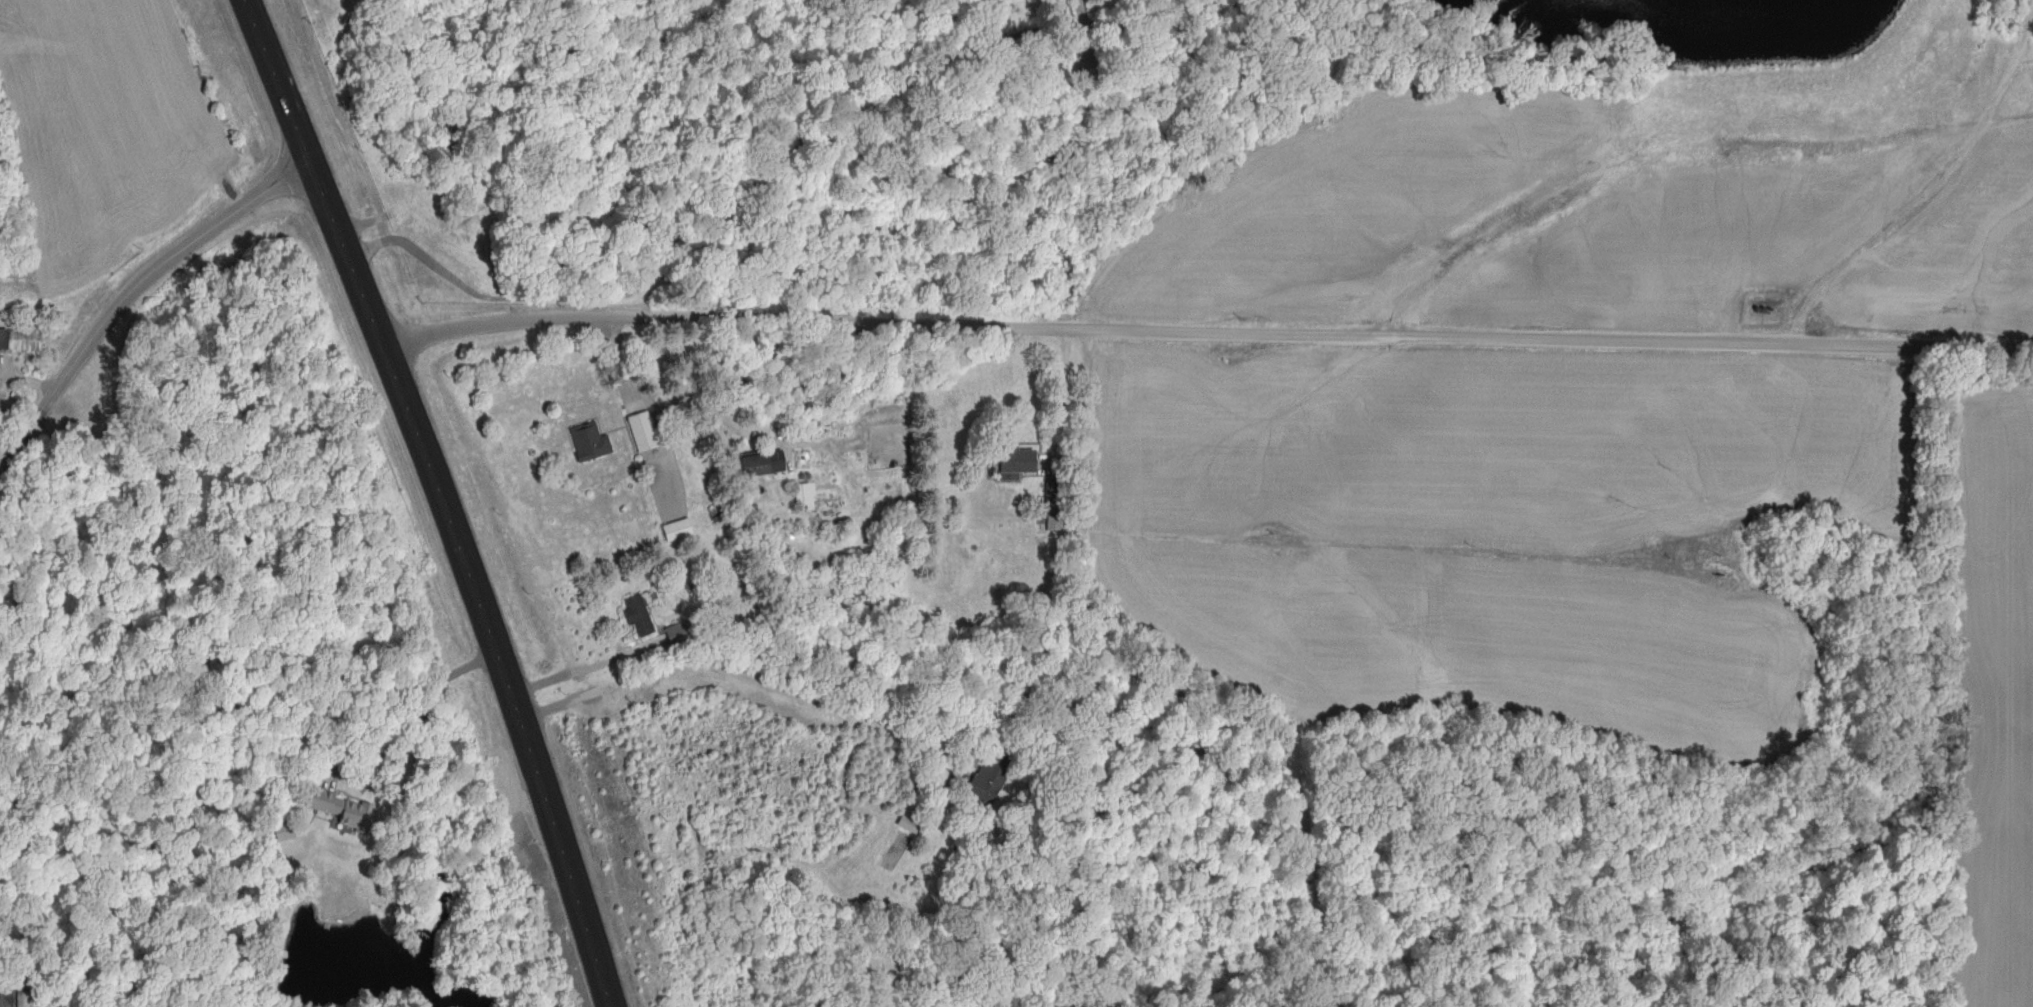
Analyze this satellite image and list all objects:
road: (1019, 11)
road: (735, 148)
road: (1912, 187)
road: (133, 292)
road: (1208, 332)
building: (21, 340)
road: (705, 396)
road: (652, 400)
building: (646, 432)
building: (593, 443)
building: (1020, 462)
building: (766, 463)
building: (809, 497)
road: (444, 499)
building: (1058, 507)
building: (681, 530)
building: (642, 616)
building: (681, 634)
road: (742, 677)
building: (995, 774)
building: (347, 810)
road: (492, 818)
building: (284, 835)
road: (1423, 977)
building: (4, 1001)

